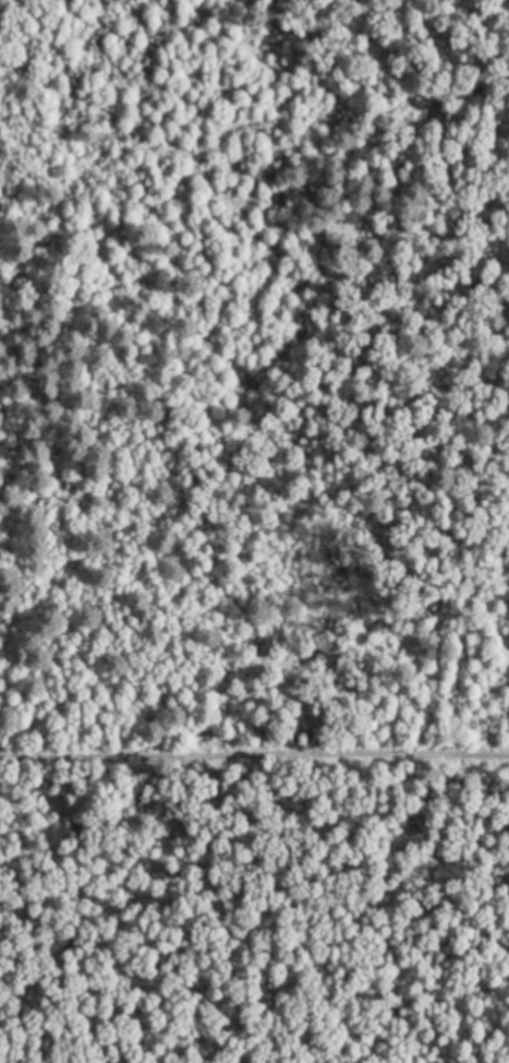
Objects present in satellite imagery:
road: (254, 728)

